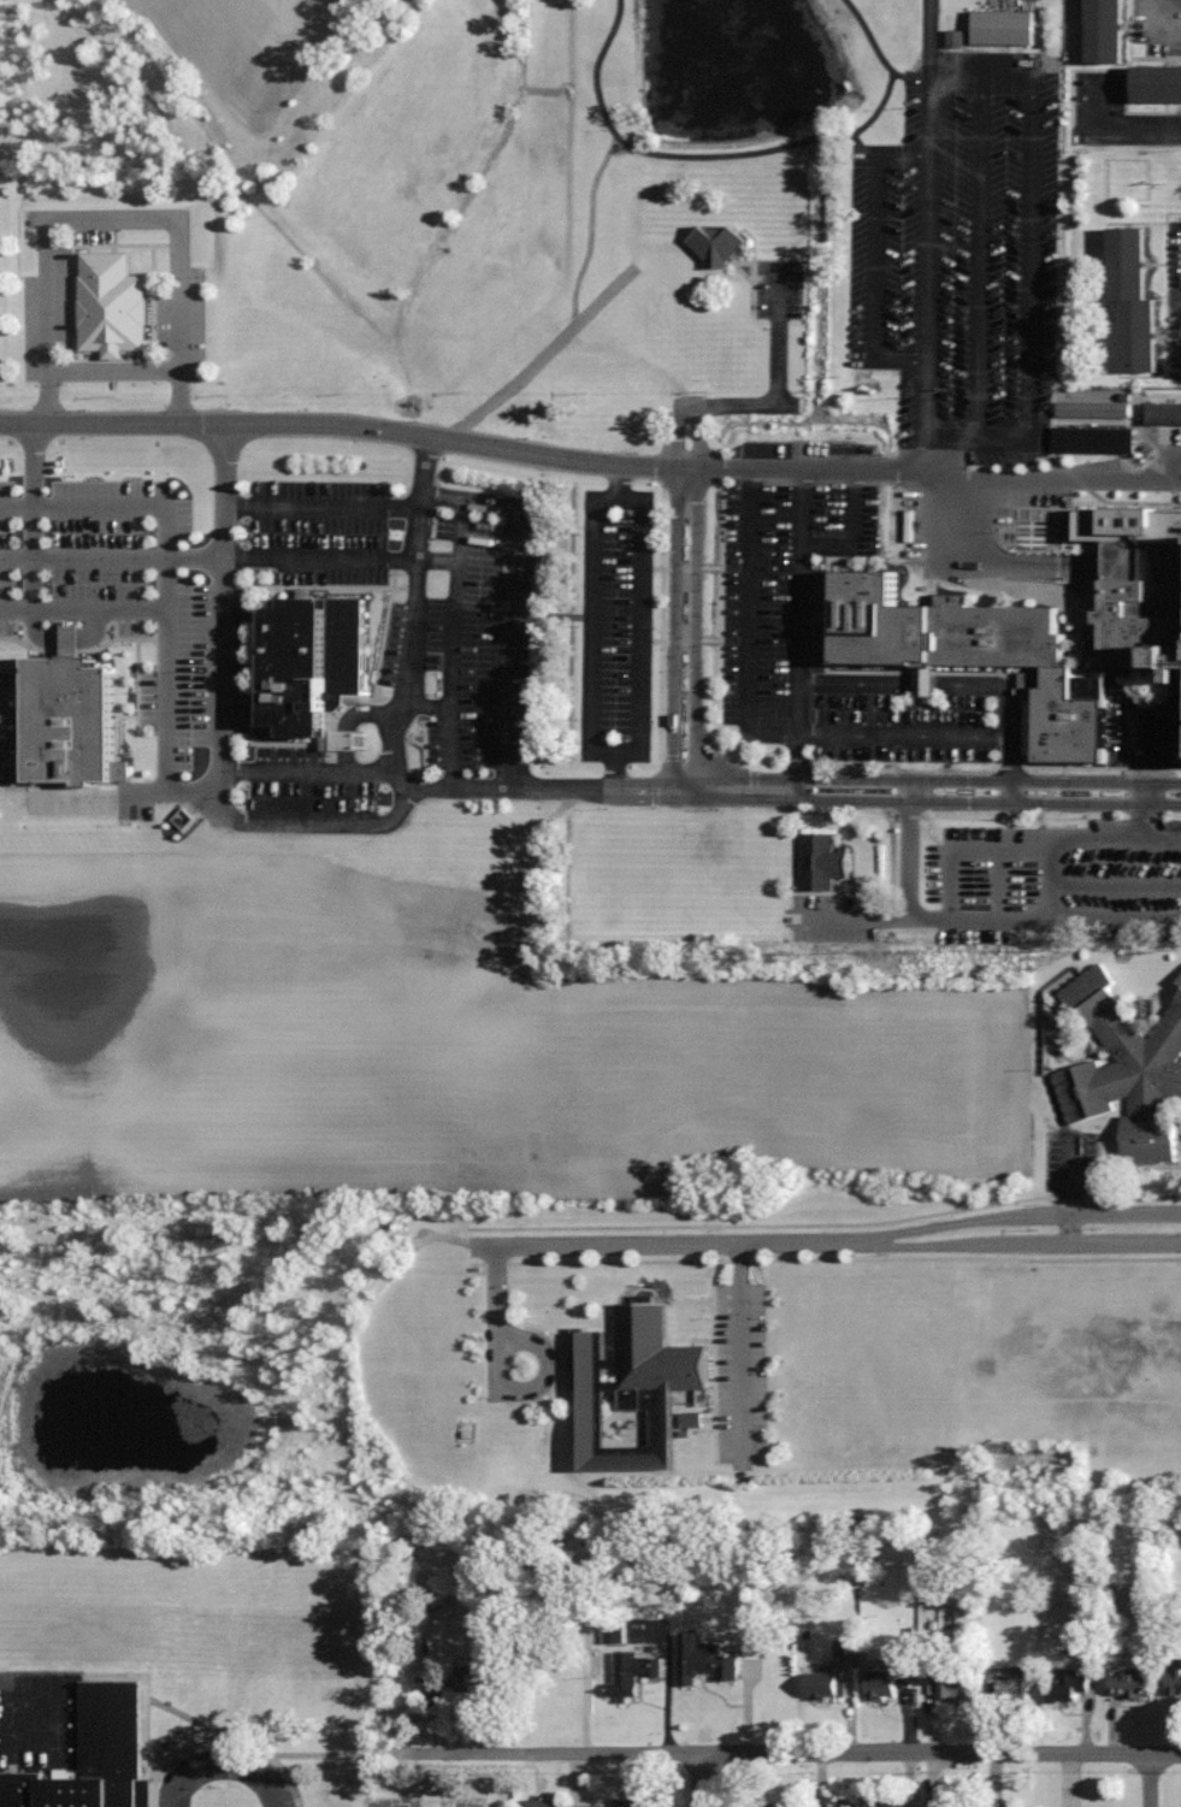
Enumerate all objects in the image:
building: (1005, 28)
building: (1109, 31)
road: (870, 36)
road: (913, 72)
building: (1159, 84)
road: (1103, 104)
road: (1144, 129)
road: (698, 157)
road: (105, 217)
road: (928, 235)
building: (719, 246)
building: (1136, 301)
building: (113, 305)
road: (114, 368)
building: (1092, 409)
building: (1164, 413)
road: (344, 424)
building: (1094, 439)
road: (31, 465)
road: (926, 471)
road: (132, 507)
road: (320, 508)
road: (685, 508)
road: (851, 531)
road: (30, 557)
road: (82, 557)
road: (193, 557)
road: (318, 560)
road: (436, 562)
road: (220, 597)
road: (412, 607)
road: (82, 608)
road: (453, 622)
road: (746, 624)
road: (638, 625)
road: (802, 627)
building: (1037, 640)
road: (504, 644)
building: (318, 669)
road: (425, 703)
road: (165, 722)
road: (931, 734)
road: (1174, 742)
road: (1129, 751)
road: (305, 774)
road: (406, 781)
road: (580, 786)
road: (218, 789)
road: (961, 790)
road: (321, 823)
road: (1144, 832)
road: (1063, 839)
road: (966, 851)
road: (909, 856)
building: (823, 861)
road: (997, 886)
road: (1045, 920)
building: (1124, 1069)
road: (1109, 1226)
road: (762, 1233)
building: (634, 1389)
building: (1121, 1604)
building: (705, 1659)
building: (634, 1672)
building: (1175, 1676)
building: (482, 1683)
building: (890, 1683)
building: (826, 1684)
building: (1010, 1684)
building: (1132, 1684)
building: (955, 1685)
building: (1069, 1685)
building: (437, 1690)
road: (808, 1752)
building: (93, 1758)
road: (234, 1772)
road: (696, 1781)
road: (1151, 1781)
road: (177, 1793)
building: (555, 1803)
building: (626, 1803)
building: (840, 1803)
building: (888, 1803)
building: (994, 1803)
building: (958, 1805)

